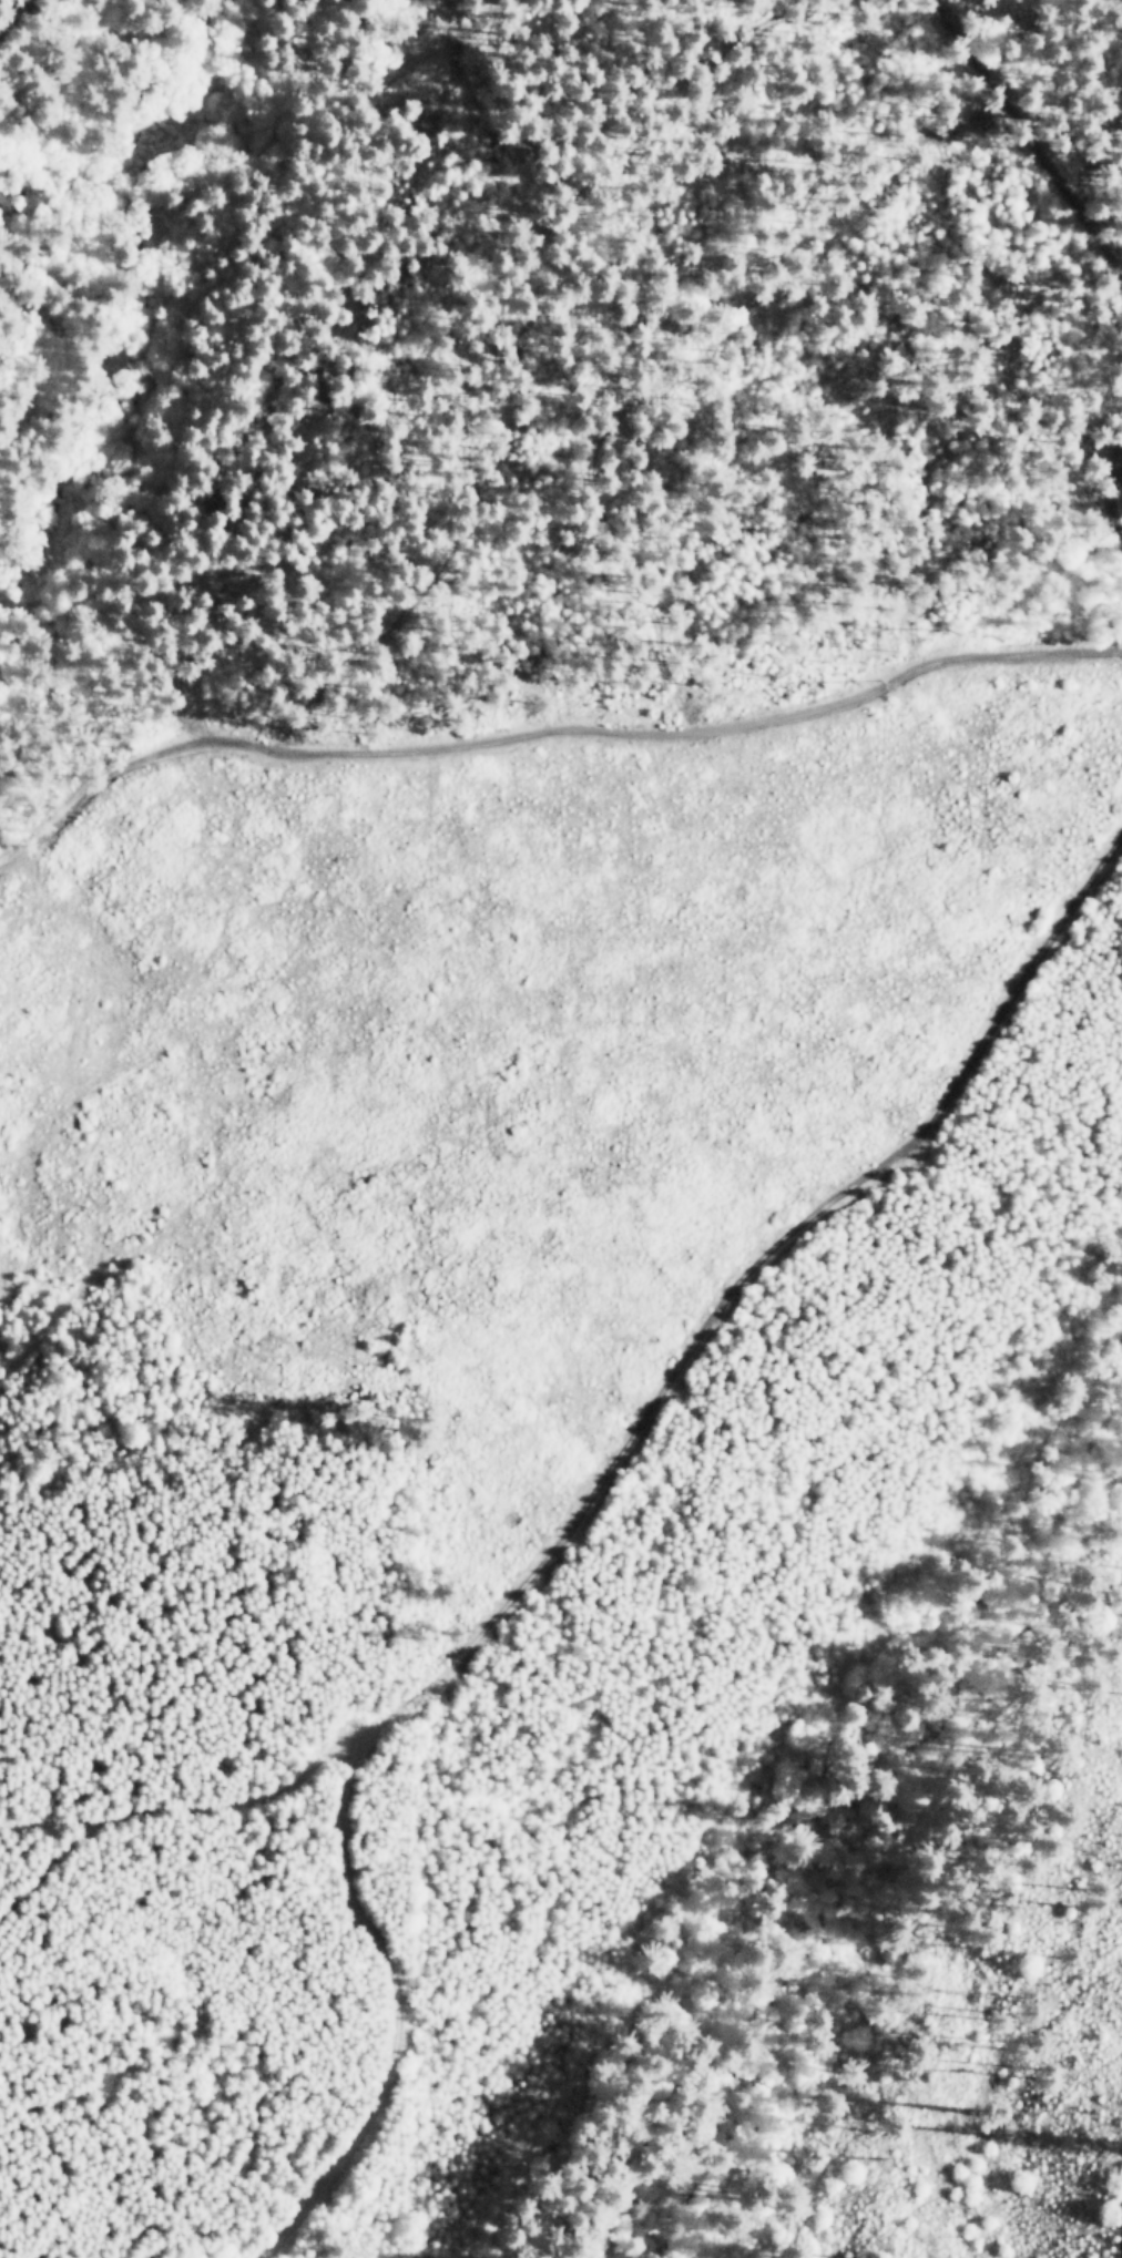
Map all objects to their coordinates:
road: (35, 17)
road: (1040, 142)
road: (550, 715)
road: (744, 1284)
road: (397, 2010)
road: (1119, 2241)

